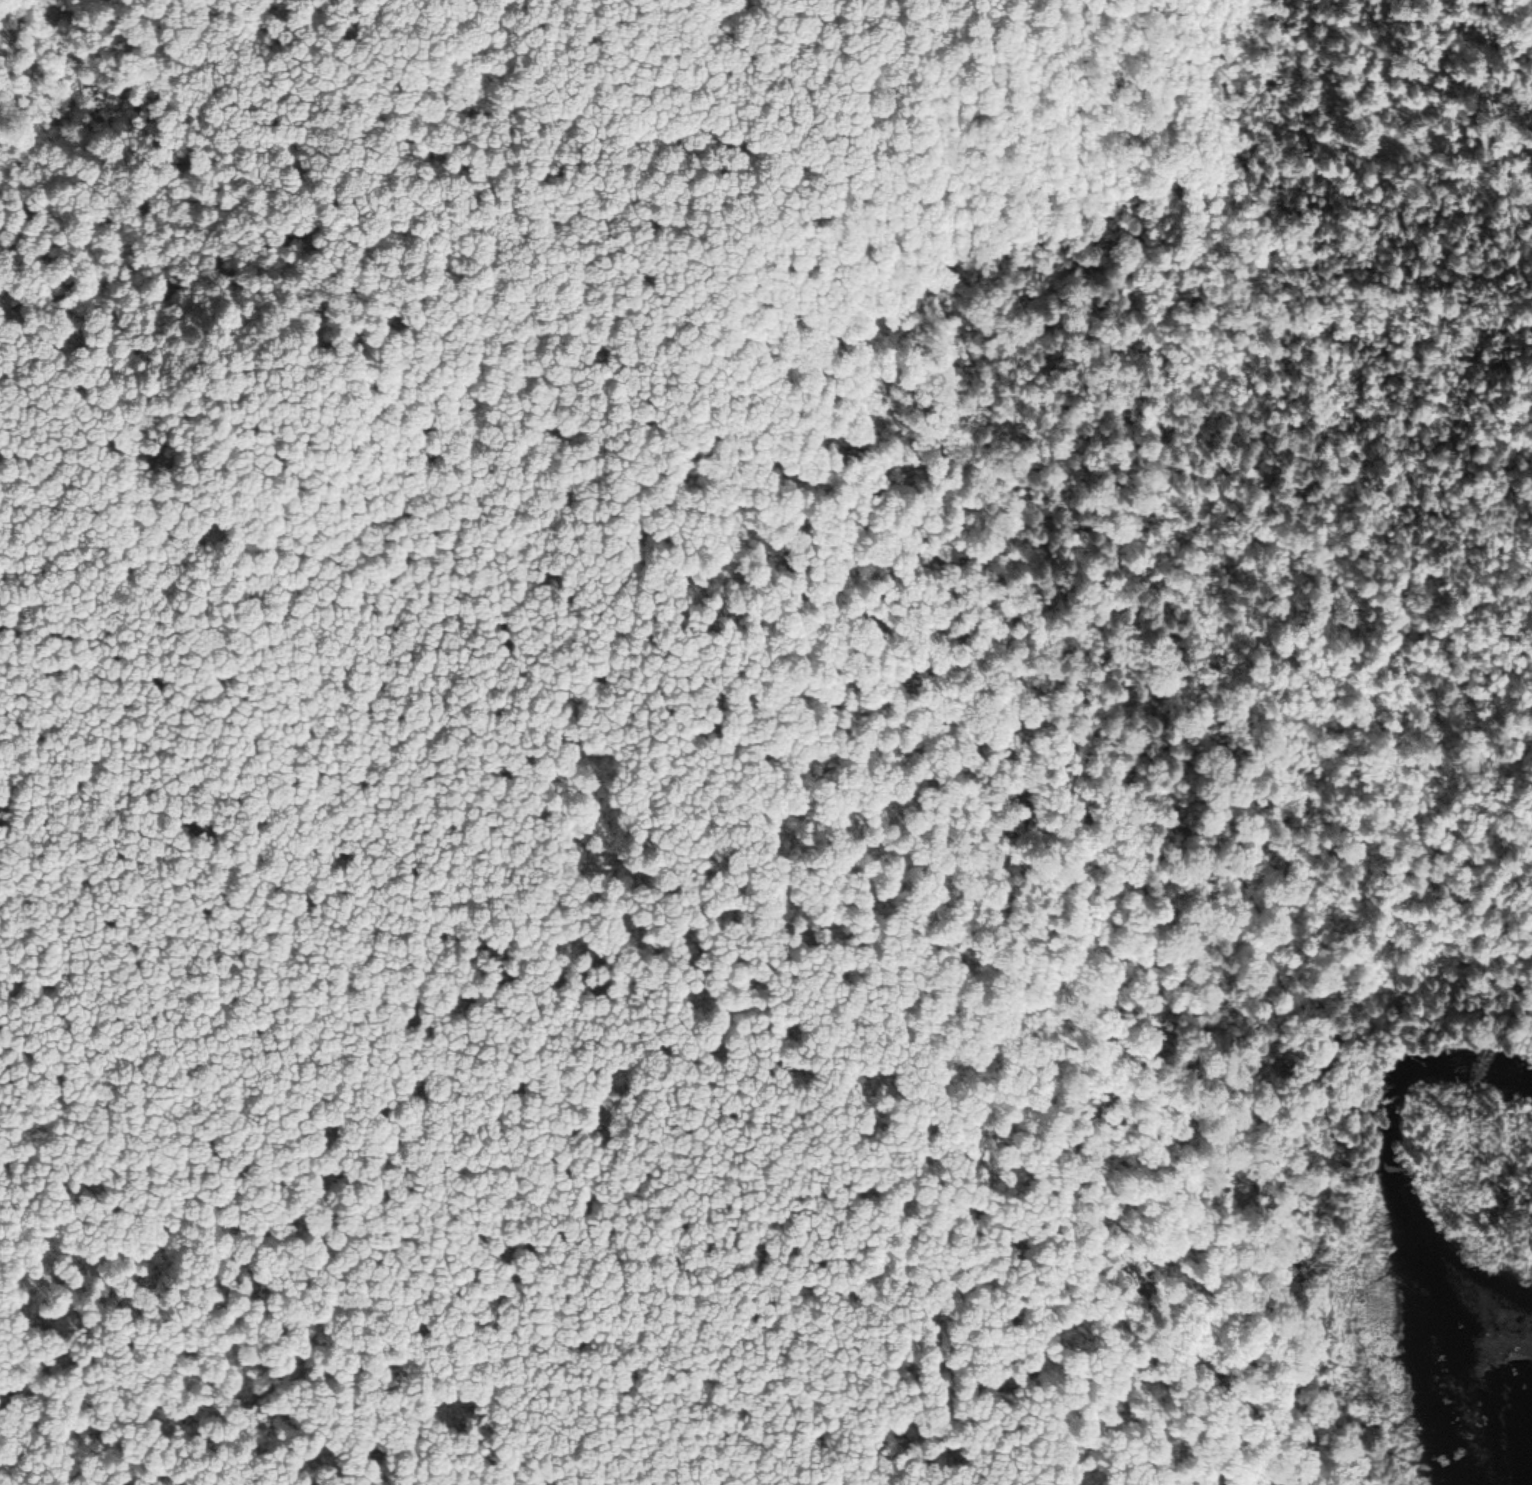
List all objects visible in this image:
river: (1411, 1120)
river: (1449, 1365)

